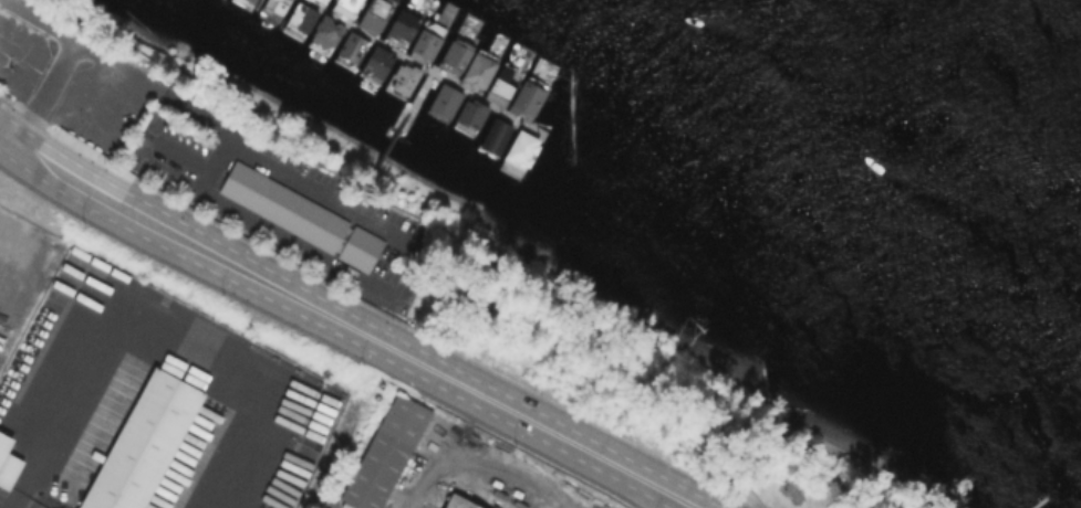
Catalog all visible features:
building: (321, 1)
building: (247, 3)
building: (276, 6)
building: (347, 7)
building: (374, 14)
building: (301, 17)
building: (401, 28)
building: (326, 31)
river: (1008, 41)
building: (424, 44)
road: (84, 46)
building: (352, 46)
building: (455, 55)
building: (376, 63)
pier: (412, 64)
building: (478, 71)
building: (404, 77)
building: (503, 82)
road: (46, 94)
building: (445, 99)
building: (526, 99)
building: (470, 113)
pier: (395, 136)
building: (493, 136)
building: (521, 148)
road: (279, 169)
building: (304, 220)
road: (370, 308)
road: (344, 324)
road: (157, 325)
road: (319, 338)
building: (132, 443)
building: (377, 449)
road: (475, 459)
building: (4, 467)
building: (458, 501)

